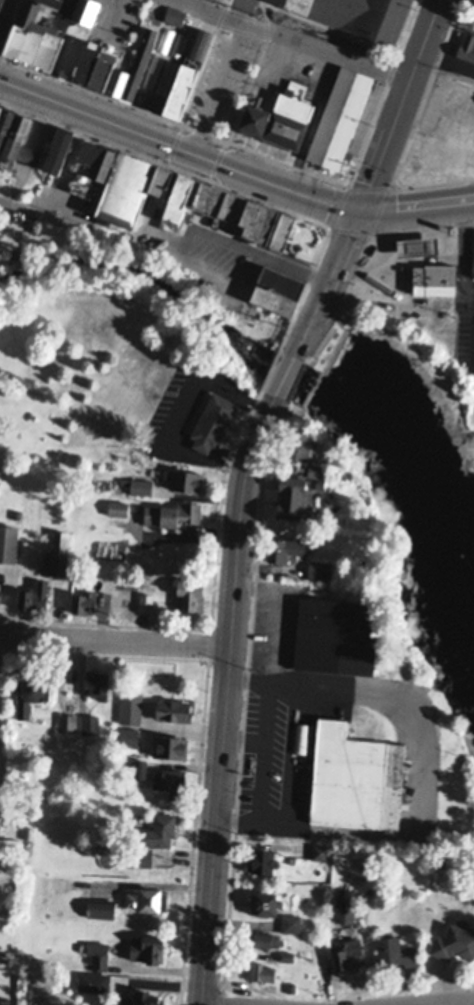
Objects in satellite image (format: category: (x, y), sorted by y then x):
road: (2, 7)
building: (86, 9)
building: (360, 14)
building: (174, 15)
building: (152, 18)
building: (33, 33)
road: (291, 37)
building: (467, 43)
building: (94, 60)
building: (161, 74)
road: (224, 78)
building: (1, 103)
road: (400, 104)
building: (341, 116)
building: (256, 117)
building: (290, 118)
building: (5, 119)
building: (18, 140)
building: (445, 141)
building: (59, 144)
road: (179, 148)
building: (92, 164)
building: (131, 184)
building: (238, 209)
traffic signals: (361, 209)
road: (417, 209)
building: (285, 228)
building: (418, 242)
building: (473, 268)
gas station: (410, 273)
building: (435, 276)
road: (328, 282)
building: (278, 286)
building: (336, 346)
road: (285, 376)
dam: (300, 381)
park: (467, 397)
road: (182, 413)
building: (214, 418)
building: (297, 442)
building: (317, 468)
building: (184, 477)
building: (320, 481)
building: (139, 484)
building: (295, 492)
building: (118, 507)
building: (173, 512)
building: (8, 542)
building: (286, 544)
building: (58, 554)
building: (320, 567)
building: (108, 587)
building: (191, 593)
building: (0, 594)
building: (34, 594)
building: (146, 598)
building: (84, 599)
road: (279, 616)
building: (336, 633)
road: (114, 640)
building: (97, 682)
building: (31, 692)
road: (226, 697)
building: (131, 707)
building: (174, 709)
building: (67, 722)
building: (90, 723)
road: (267, 732)
building: (129, 737)
building: (170, 745)
building: (139, 767)
road: (414, 774)
building: (356, 777)
building: (170, 780)
road: (263, 781)
building: (159, 830)
building: (320, 850)
building: (137, 855)
building: (262, 859)
building: (442, 859)
road: (151, 881)
building: (148, 897)
building: (265, 901)
building: (101, 906)
building: (345, 907)
building: (291, 922)
building: (266, 938)
building: (454, 941)
building: (147, 945)
building: (396, 951)
building: (99, 953)
building: (349, 953)
building: (287, 955)
building: (262, 970)
building: (95, 980)
building: (143, 997)
road: (462, 1003)

